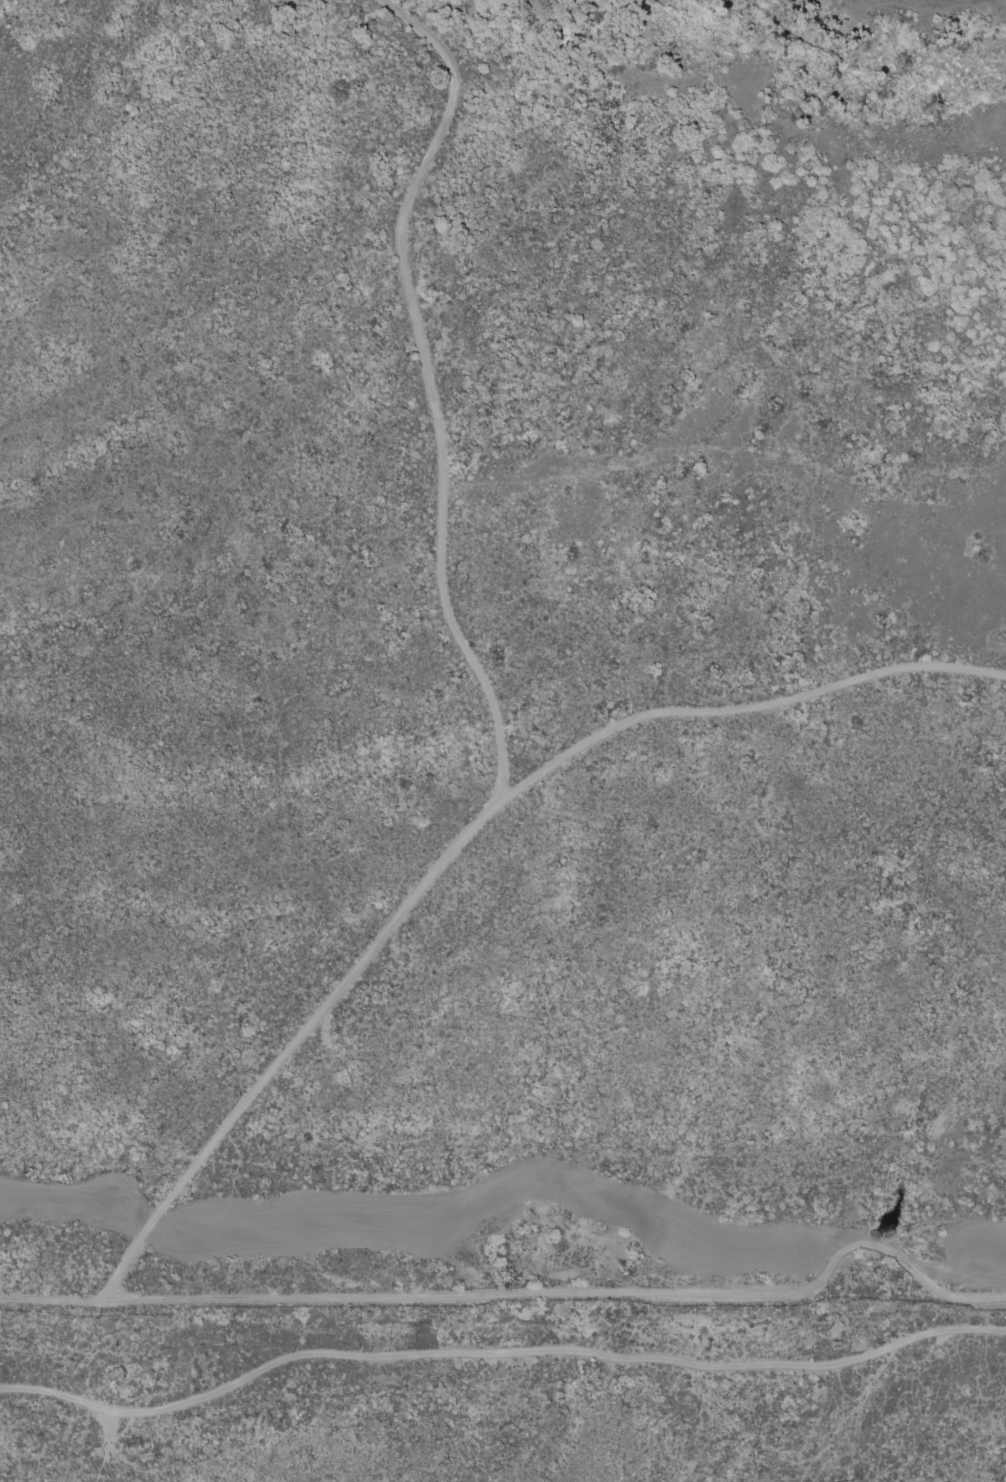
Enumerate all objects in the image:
road: (521, 1295)
road: (498, 1354)

